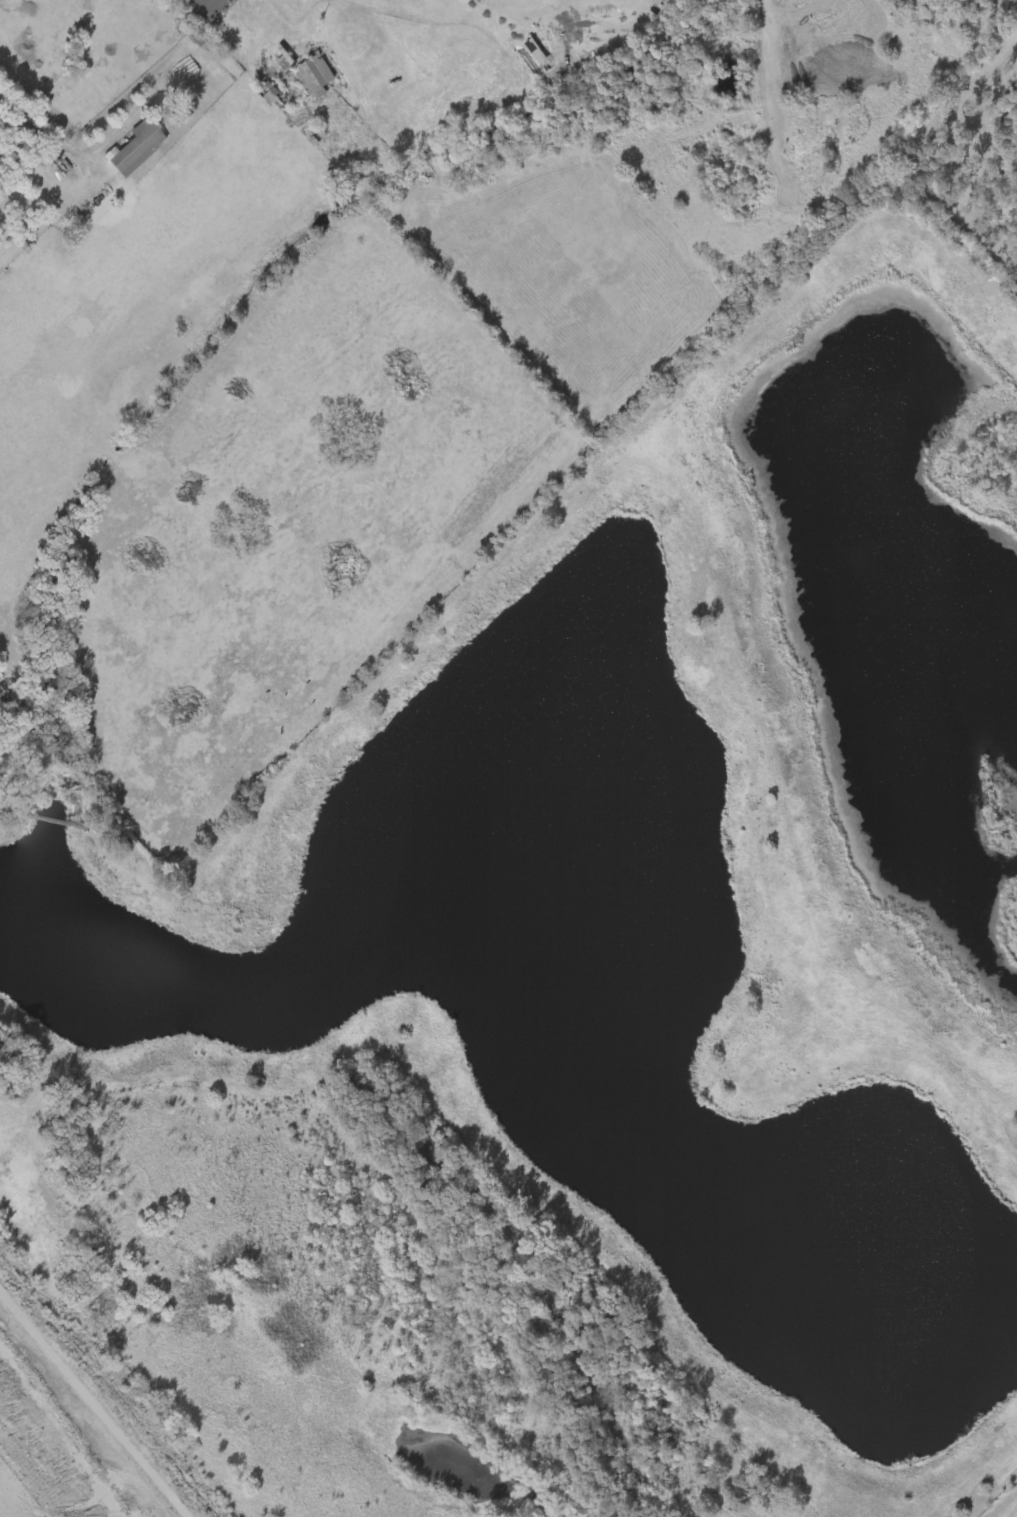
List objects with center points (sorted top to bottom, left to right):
building: (195, 9)
building: (210, 10)
building: (186, 19)
building: (316, 73)
building: (302, 79)
building: (270, 90)
building: (136, 144)
road: (87, 145)
wastewater plant: (572, 1001)
road: (98, 1401)

